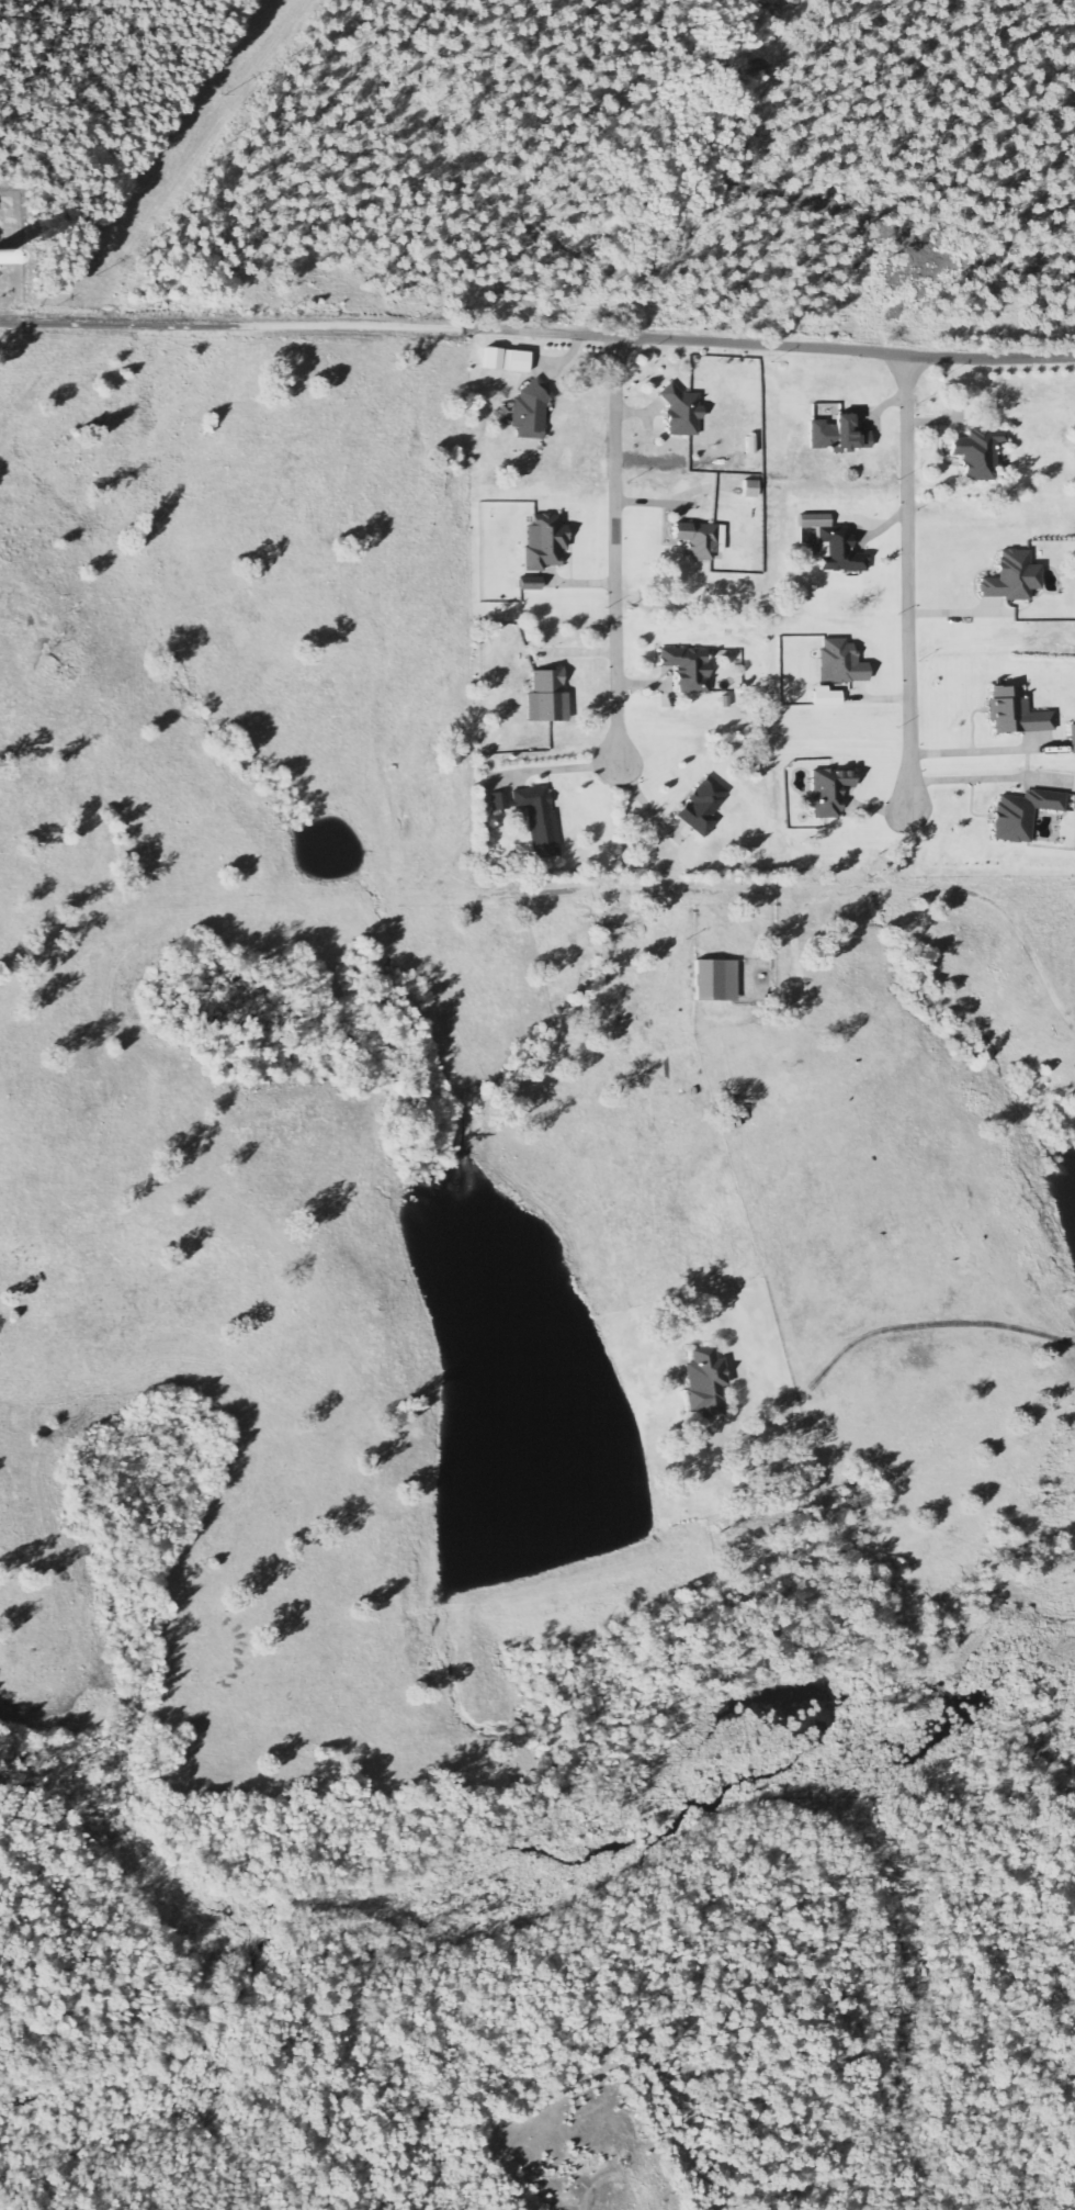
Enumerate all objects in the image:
road: (234, 325)
road: (770, 344)
building: (508, 360)
building: (531, 412)
building: (683, 412)
building: (839, 436)
building: (980, 453)
building: (750, 490)
building: (701, 541)
building: (545, 543)
road: (615, 546)
building: (831, 546)
building: (1012, 577)
road: (907, 580)
building: (531, 586)
building: (841, 663)
building: (689, 669)
building: (547, 697)
building: (1017, 713)
building: (1072, 739)
building: (829, 793)
building: (500, 801)
building: (703, 807)
building: (1023, 815)
building: (539, 820)
building: (716, 980)
road: (889, 1330)
building: (705, 1383)

